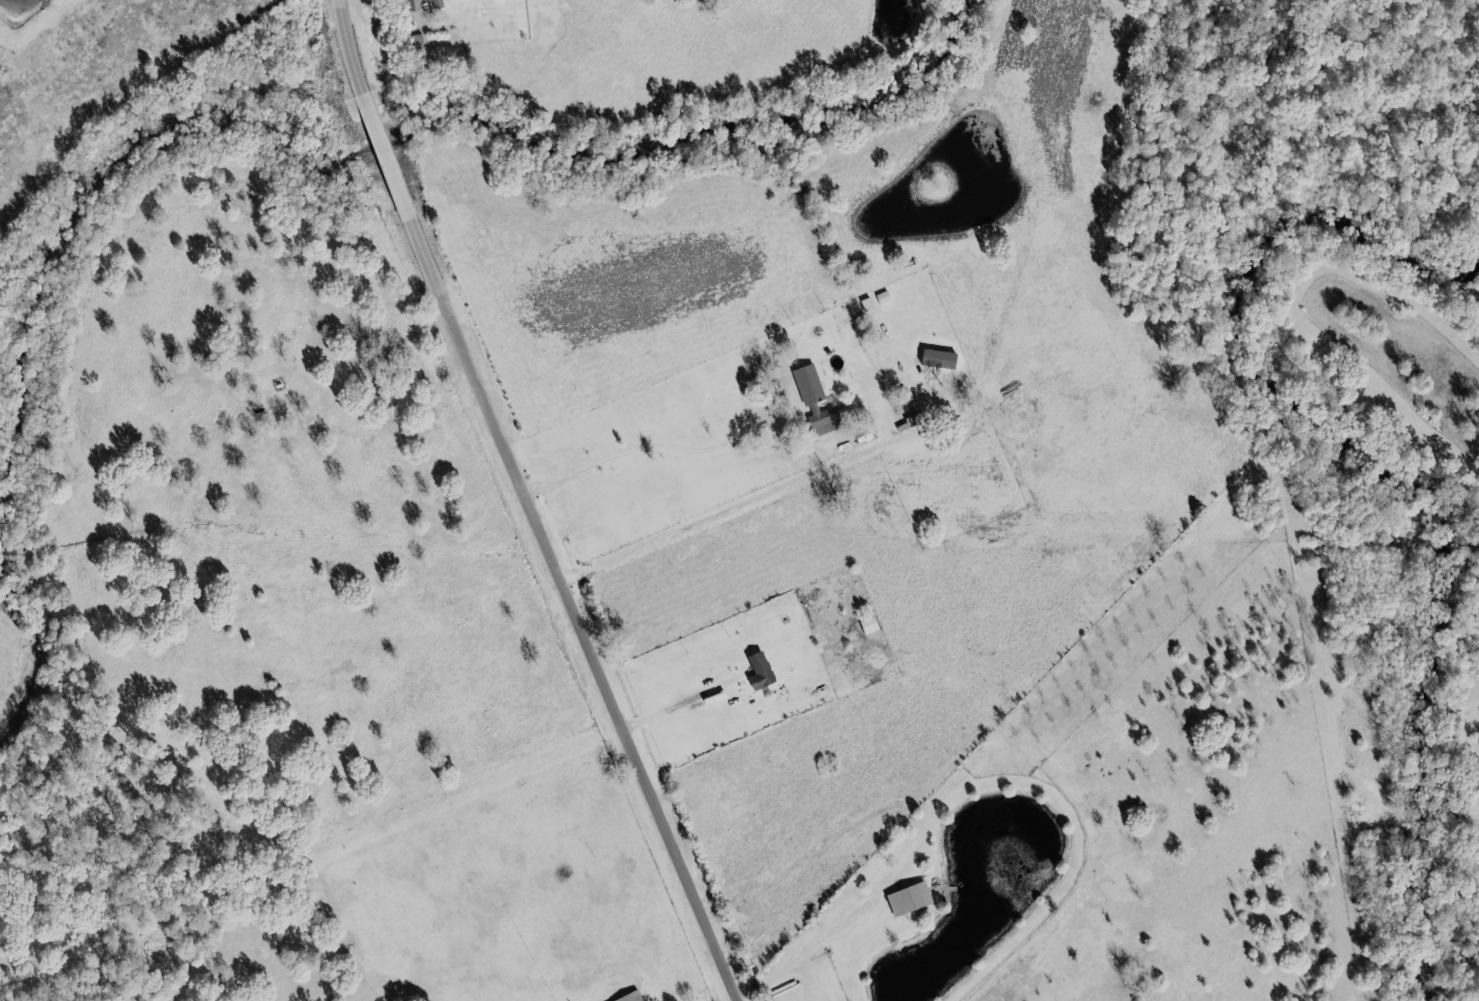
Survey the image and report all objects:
building: (438, 4)
building: (413, 5)
road: (349, 48)
river: (381, 116)
road: (374, 121)
building: (940, 359)
building: (817, 401)
building: (910, 415)
road: (669, 456)
road: (728, 511)
road: (563, 574)
building: (870, 625)
river: (36, 644)
building: (761, 671)
building: (910, 898)

